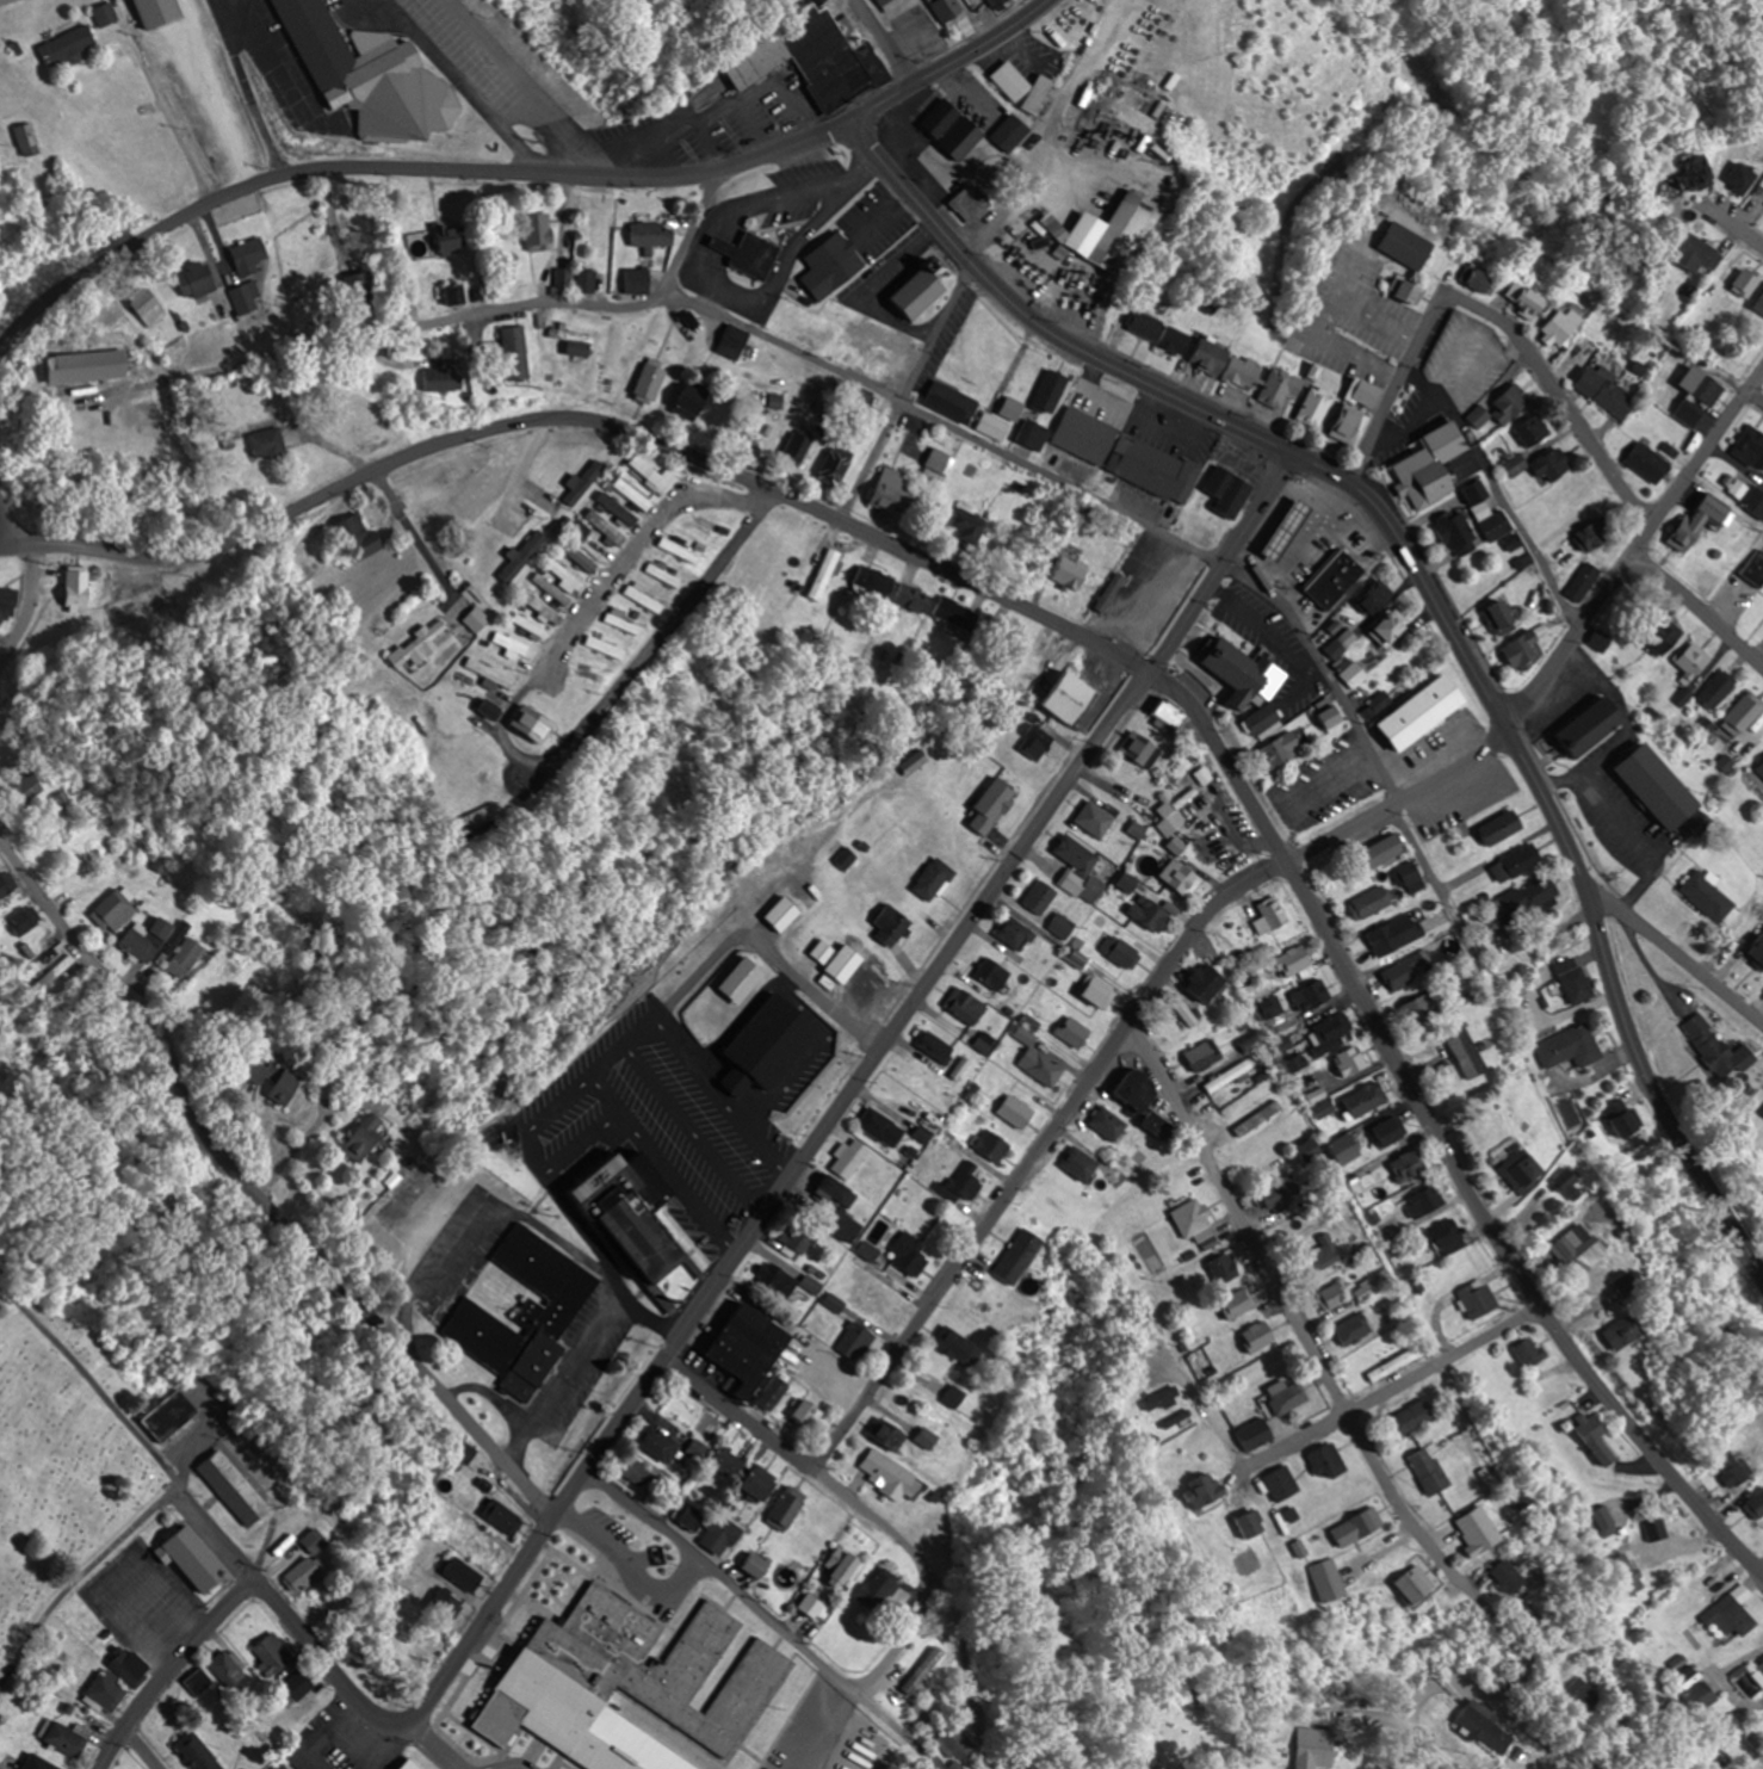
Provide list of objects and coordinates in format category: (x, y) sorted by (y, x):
building: (885, 1)
building: (1000, 5)
building: (949, 10)
building: (109, 14)
road: (270, 41)
road: (885, 42)
building: (70, 47)
building: (811, 57)
road: (952, 63)
building: (375, 74)
road: (463, 86)
road: (525, 86)
building: (1025, 86)
building: (942, 118)
building: (1013, 132)
building: (29, 138)
road: (403, 165)
building: (1690, 174)
building: (1740, 175)
building: (972, 203)
building: (1060, 228)
road: (1736, 229)
building: (539, 230)
road: (692, 230)
building: (1124, 231)
building: (652, 234)
building: (1405, 245)
building: (750, 253)
building: (248, 254)
building: (1701, 255)
building: (833, 265)
building: (562, 277)
building: (198, 279)
road: (706, 279)
building: (587, 280)
building: (638, 280)
building: (1746, 282)
building: (921, 291)
building: (453, 295)
building: (241, 298)
building: (1524, 299)
building: (1758, 304)
building: (148, 305)
building: (1559, 328)
building: (1161, 333)
road: (363, 340)
building: (577, 341)
building: (732, 347)
building: (518, 352)
building: (1210, 358)
building: (88, 365)
parking lot: (1090, 369)
building: (1245, 372)
building: (444, 379)
building: (651, 382)
building: (1702, 385)
building: (1282, 388)
road: (905, 391)
building: (1053, 391)
road: (1393, 394)
building: (1604, 394)
road: (1756, 394)
road: (1558, 398)
building: (693, 402)
building: (955, 403)
building: (1503, 407)
building: (1317, 408)
building: (1014, 409)
building: (1689, 414)
parking lot: (1151, 416)
building: (1349, 423)
building: (995, 427)
building: (1532, 432)
building: (1751, 447)
building: (1132, 453)
building: (841, 460)
building: (941, 460)
building: (1648, 463)
building: (1553, 465)
building: (1439, 466)
building: (656, 476)
road: (1081, 490)
building: (1230, 491)
building: (895, 493)
building: (1747, 495)
building: (636, 496)
building: (1495, 521)
road: (11, 524)
building: (1701, 524)
building: (1283, 526)
building: (969, 527)
building: (712, 530)
building: (613, 532)
building: (1458, 534)
building: (1592, 536)
building: (358, 537)
road: (11, 545)
building: (682, 550)
road: (1637, 550)
road: (641, 552)
building: (581, 557)
building: (1755, 568)
building: (824, 574)
building: (667, 575)
building: (1334, 577)
building: (1069, 579)
building: (1584, 582)
building: (874, 583)
building: (78, 588)
road: (1431, 592)
building: (1112, 593)
building: (913, 596)
building: (647, 599)
building: (1377, 599)
building: (7, 602)
building: (140, 606)
road: (29, 607)
building: (543, 607)
road: (1699, 610)
building: (958, 613)
building: (478, 619)
building: (1501, 619)
building: (532, 626)
building: (1396, 629)
road: (1100, 642)
building: (1602, 642)
building: (1660, 643)
building: (420, 644)
building: (511, 644)
building: (608, 647)
building: (1527, 651)
building: (1693, 660)
building: (491, 673)
building: (1242, 673)
building: (1356, 674)
building: (593, 675)
building: (1718, 691)
road: (618, 693)
building: (1071, 698)
building: (1331, 713)
building: (1424, 713)
building: (1173, 716)
building: (1744, 716)
building: (1267, 722)
building: (1586, 728)
building: (1040, 741)
building: (1144, 749)
building: (1283, 751)
road: (1586, 771)
building: (1759, 772)
building: (1206, 775)
building: (27, 787)
building: (1656, 787)
building: (994, 806)
building: (1099, 817)
building: (1502, 828)
road: (1643, 841)
building: (1388, 851)
building: (1080, 862)
building: (1516, 864)
building: (1183, 878)
building: (1411, 878)
building: (935, 879)
building: (4, 887)
building: (1043, 897)
building: (1532, 898)
building: (1373, 903)
building: (112, 913)
building: (1152, 913)
building: (1275, 913)
building: (781, 914)
building: (23, 921)
building: (895, 924)
building: (1064, 927)
building: (1019, 932)
building: (1397, 935)
building: (147, 939)
building: (1758, 950)
building: (1122, 952)
road: (1675, 957)
building: (184, 958)
building: (840, 959)
building: (1298, 960)
building: (1406, 970)
building: (996, 975)
building: (1576, 981)
building: (1210, 984)
building: (1096, 994)
building: (1314, 996)
building: (967, 1007)
building: (1422, 1009)
building: (1076, 1033)
building: (1330, 1033)
road: (1111, 1047)
building: (1572, 1047)
building: (1719, 1049)
building: (1468, 1052)
building: (934, 1054)
building: (1205, 1056)
building: (1348, 1063)
building: (1045, 1066)
building: (1230, 1076)
building: (284, 1088)
building: (1140, 1091)
building: (1319, 1094)
building: (1368, 1099)
building: (1325, 1107)
building: (1016, 1112)
building: (1258, 1118)
building: (1109, 1124)
building: (1159, 1125)
building: (1626, 1126)
building: (884, 1128)
building: (1390, 1132)
building: (361, 1140)
building: (995, 1146)
building: (1346, 1149)
building: (1310, 1150)
building: (853, 1158)
building: (1081, 1164)
building: (1409, 1165)
building: (1526, 1171)
road: (788, 1175)
building: (965, 1183)
building: (1572, 1185)
road: (253, 1189)
building: (1283, 1194)
building: (1427, 1202)
building: (842, 1207)
building: (1196, 1220)
building: (631, 1225)
building: (1450, 1236)
building: (796, 1239)
building: (1322, 1249)
building: (871, 1251)
building: (1566, 1254)
building: (911, 1255)
building: (1021, 1256)
building: (1224, 1275)
building: (779, 1281)
building: (1375, 1285)
building: (1629, 1285)
building: (878, 1297)
building: (1332, 1297)
building: (1239, 1300)
building: (1478, 1300)
building: (527, 1316)
road: (1299, 1329)
building: (1355, 1331)
building: (1627, 1331)
building: (1260, 1334)
building: (858, 1340)
building: (960, 1347)
building: (751, 1348)
building: (816, 1350)
building: (1533, 1352)
building: (1393, 1366)
road: (94, 1383)
road: (1386, 1388)
building: (775, 1394)
building: (1289, 1399)
building: (1161, 1400)
building: (805, 1412)
building: (172, 1416)
building: (1414, 1418)
building: (890, 1435)
park: (62, 1441)
building: (661, 1447)
building: (1328, 1460)
building: (729, 1464)
building: (1736, 1467)
building: (1431, 1472)
building: (889, 1473)
building: (1282, 1484)
building: (761, 1485)
building: (235, 1487)
building: (1202, 1495)
road: (847, 1498)
building: (1758, 1503)
building: (790, 1509)
building: (691, 1516)
building: (1249, 1526)
building: (1362, 1527)
road: (217, 1533)
building: (1477, 1534)
building: (722, 1535)
building: (315, 1540)
building: (484, 1547)
building: (194, 1559)
building: (757, 1565)
building: (842, 1570)
building: (304, 1575)
building: (465, 1575)
building: (1514, 1578)
building: (1418, 1585)
building: (878, 1591)
building: (447, 1604)
building: (812, 1606)
building: (1737, 1613)
road: (767, 1614)
road: (902, 1637)
building: (272, 1654)
building: (658, 1665)
road: (171, 1668)
building: (1761, 1668)
building: (227, 1669)
building: (922, 1670)
building: (129, 1671)
building: (199, 1682)
building: (298, 1684)
building: (107, 1691)
building: (1507, 1702)
building: (502, 1719)
building: (1486, 1730)
building: (68, 1738)
road: (1419, 1740)
building: (953, 1744)
road: (140, 1750)
building: (199, 1751)
building: (310, 1752)
building: (1542, 1756)
building: (39, 1763)
building: (279, 1765)
building: (412, 1765)

